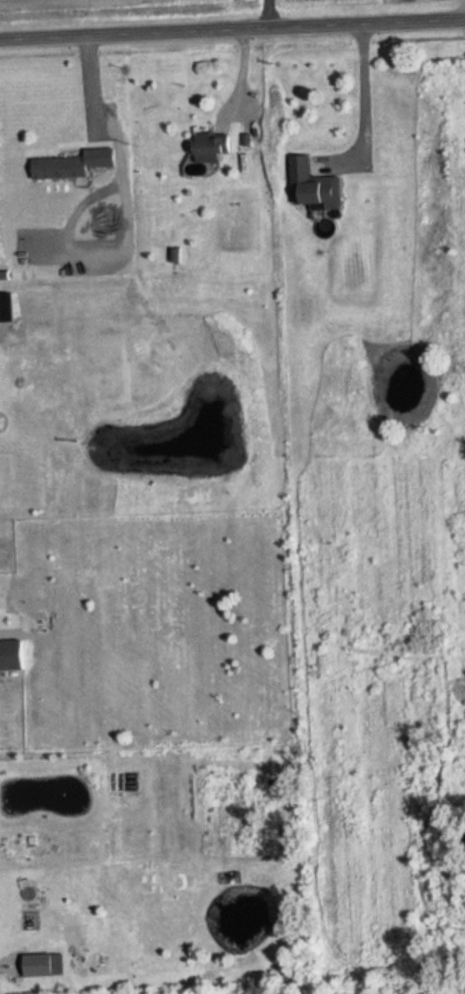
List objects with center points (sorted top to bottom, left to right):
road: (232, 29)
road: (364, 111)
building: (213, 146)
building: (75, 164)
building: (314, 186)
building: (39, 965)

